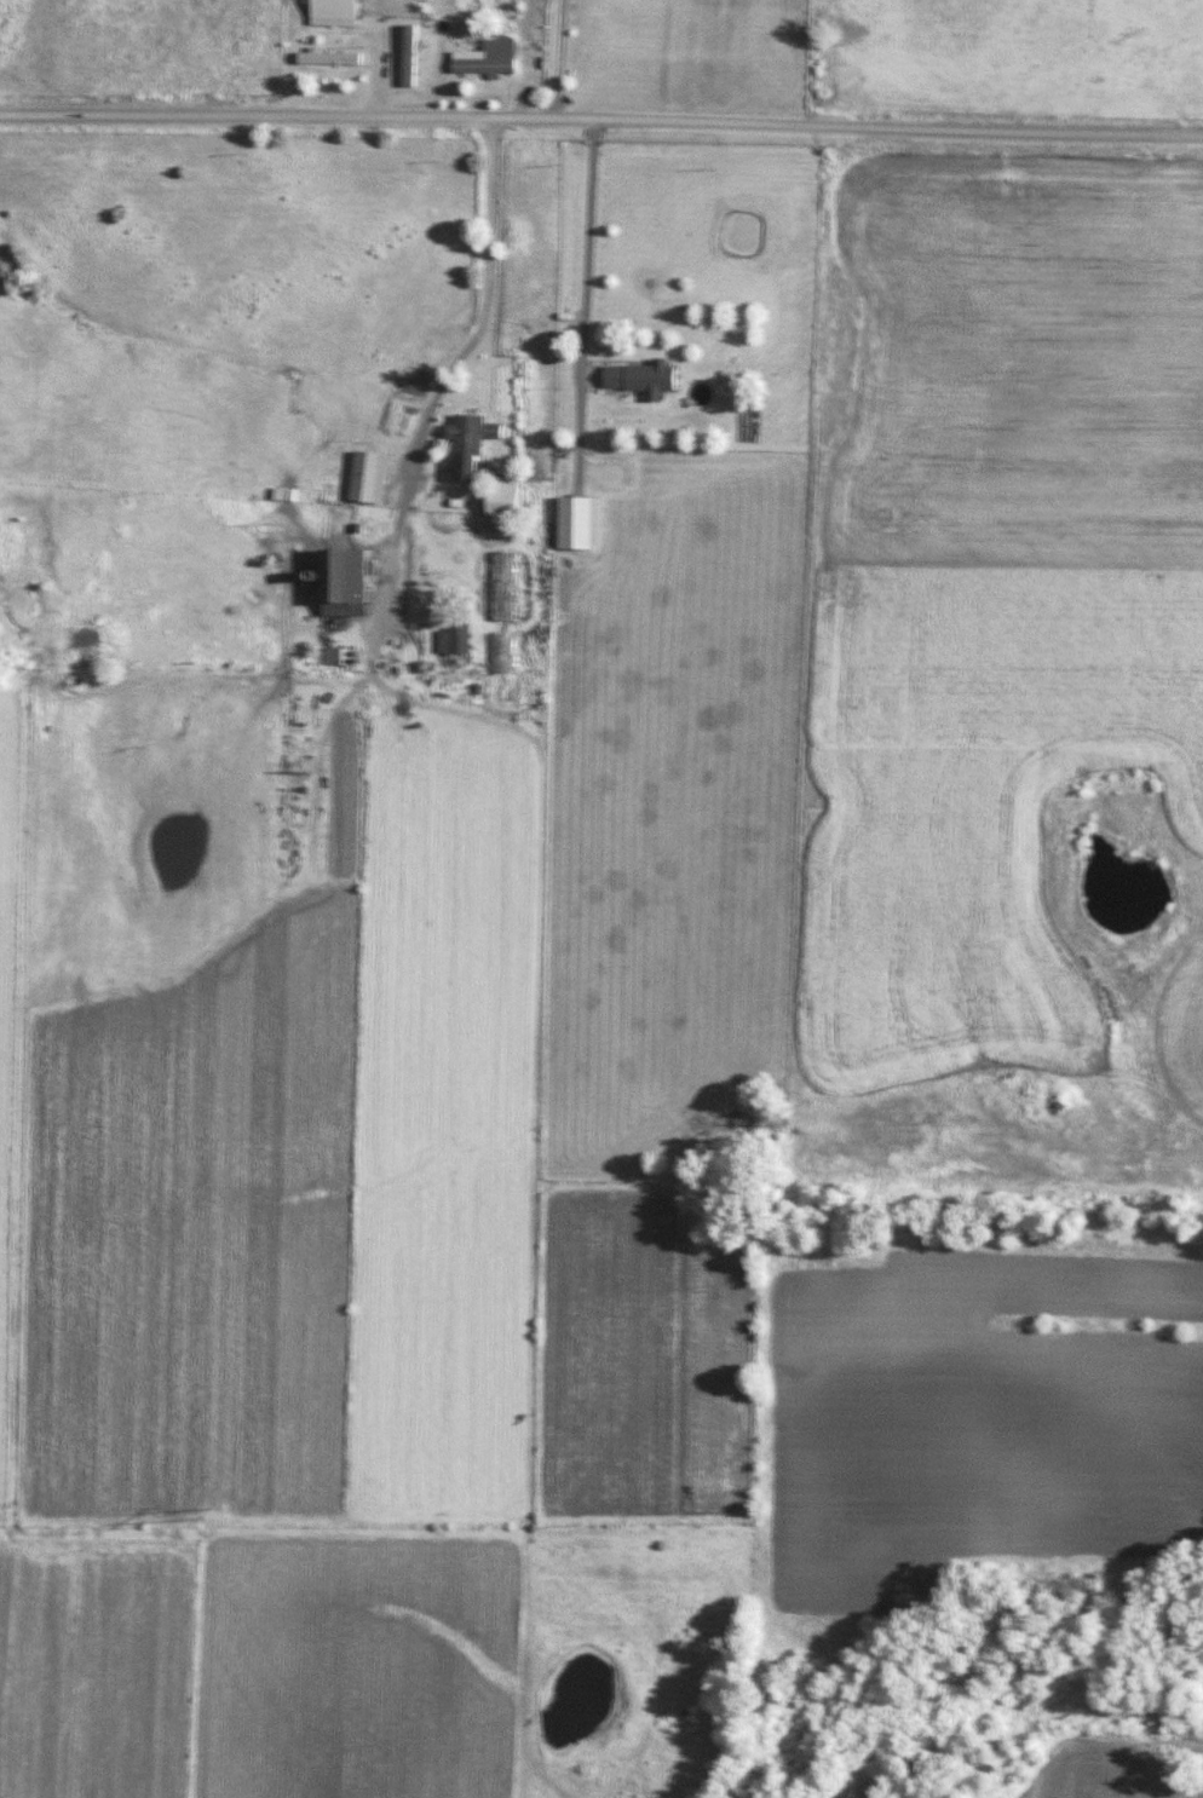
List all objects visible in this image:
building: (341, 13)
building: (416, 56)
building: (335, 58)
building: (493, 58)
road: (560, 62)
road: (601, 125)
road: (589, 278)
road: (479, 336)
building: (651, 378)
building: (476, 434)
building: (513, 484)
building: (585, 523)
building: (355, 582)
building: (511, 586)
building: (323, 692)
power tower: (219, 1512)

